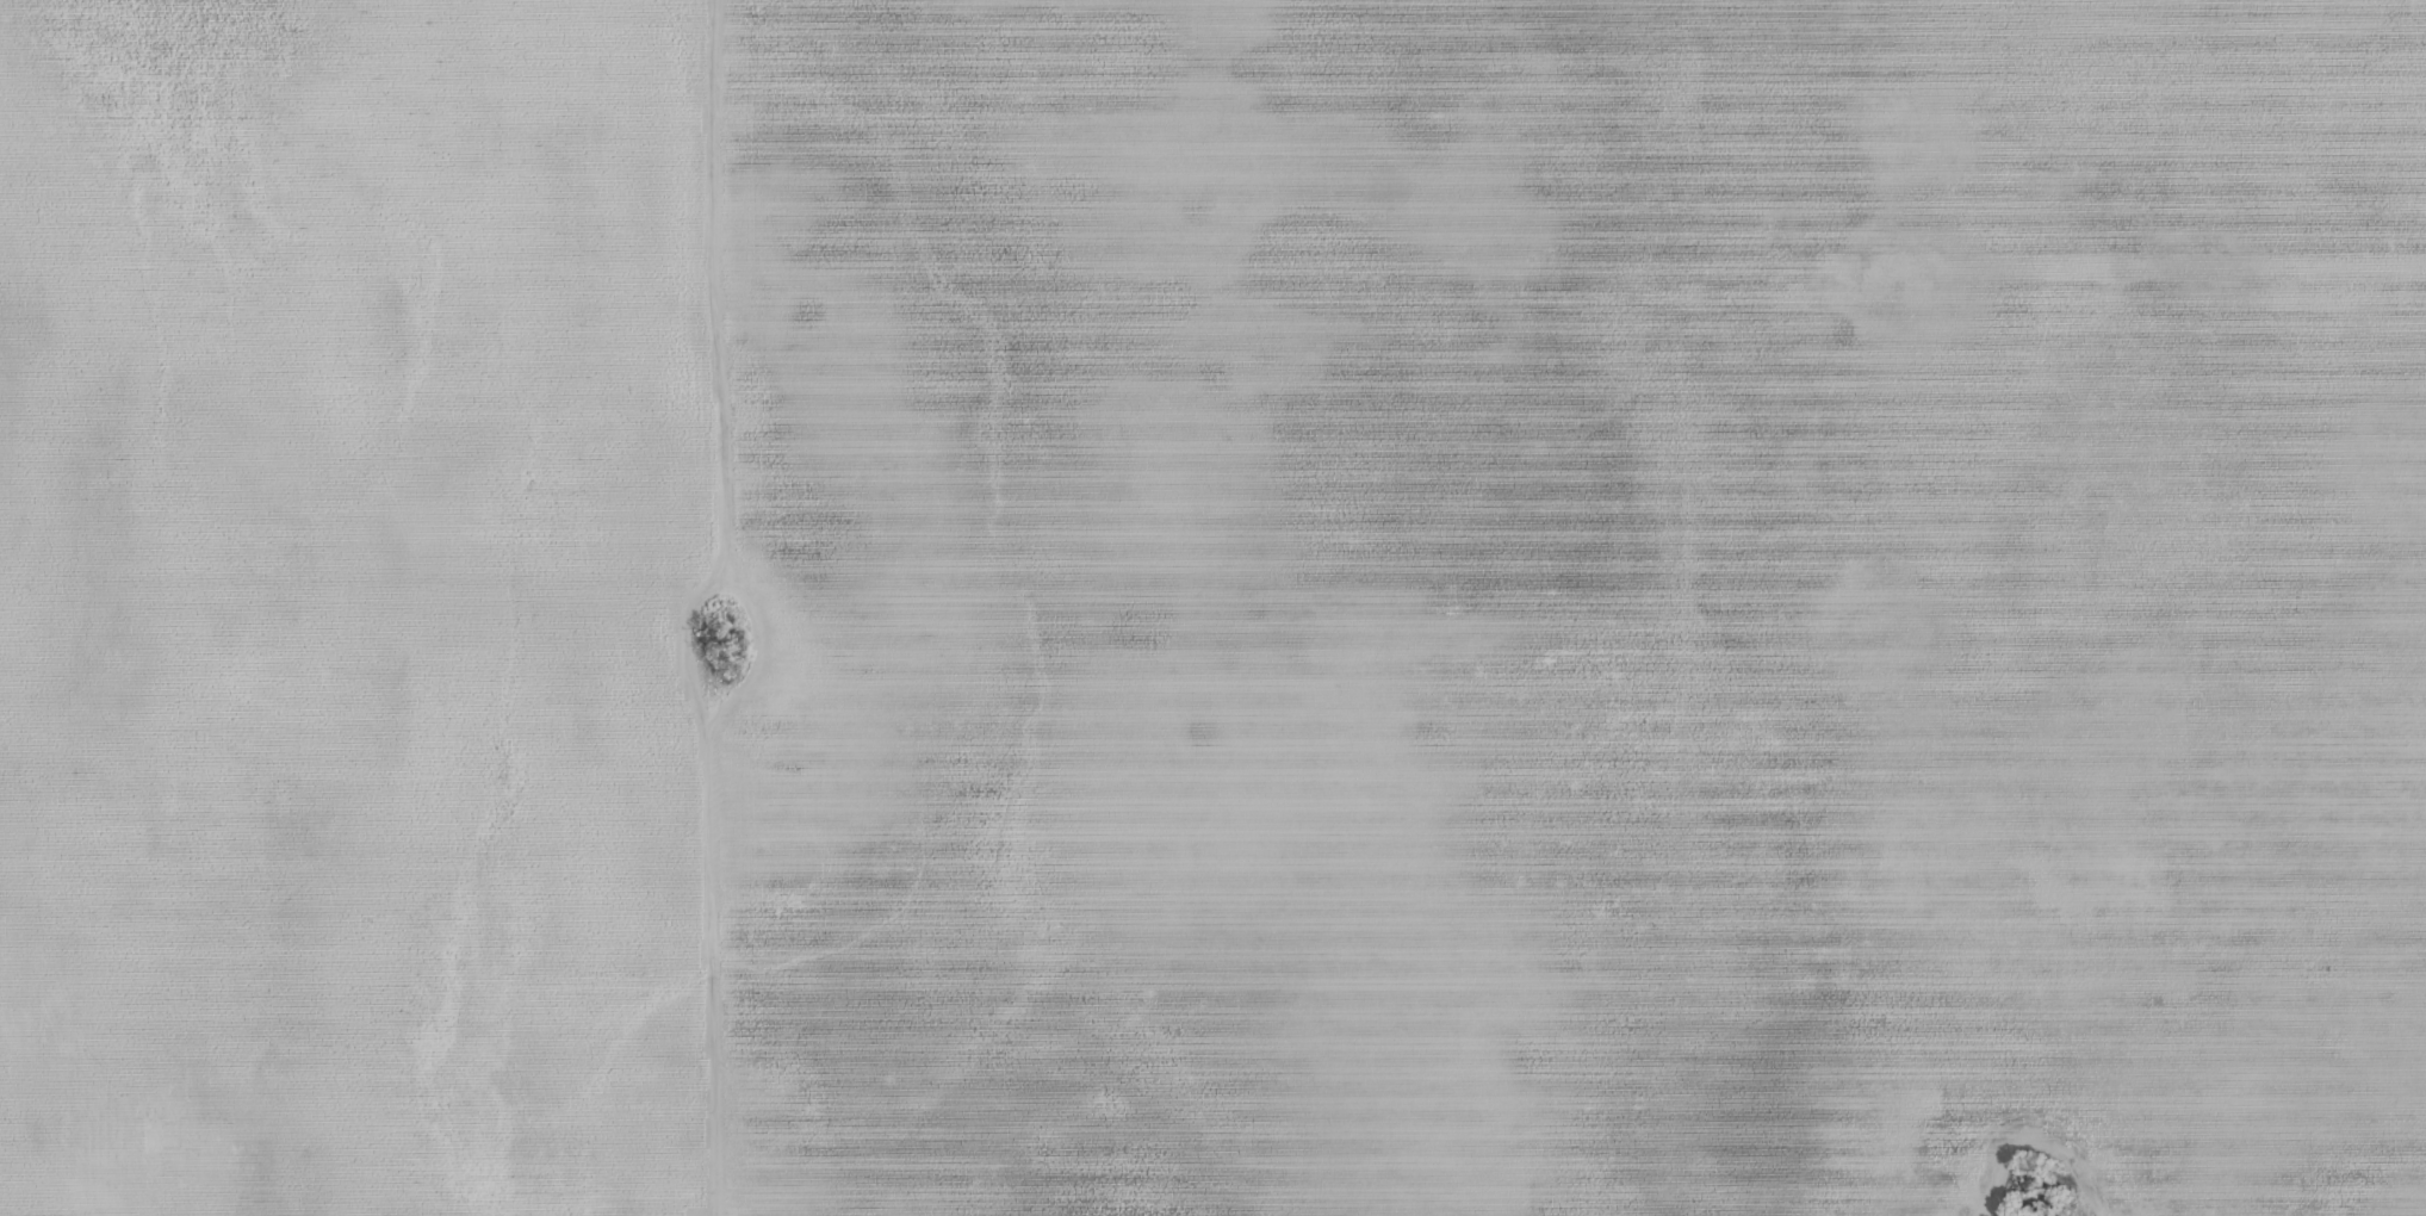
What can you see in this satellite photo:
road: (740, 608)

